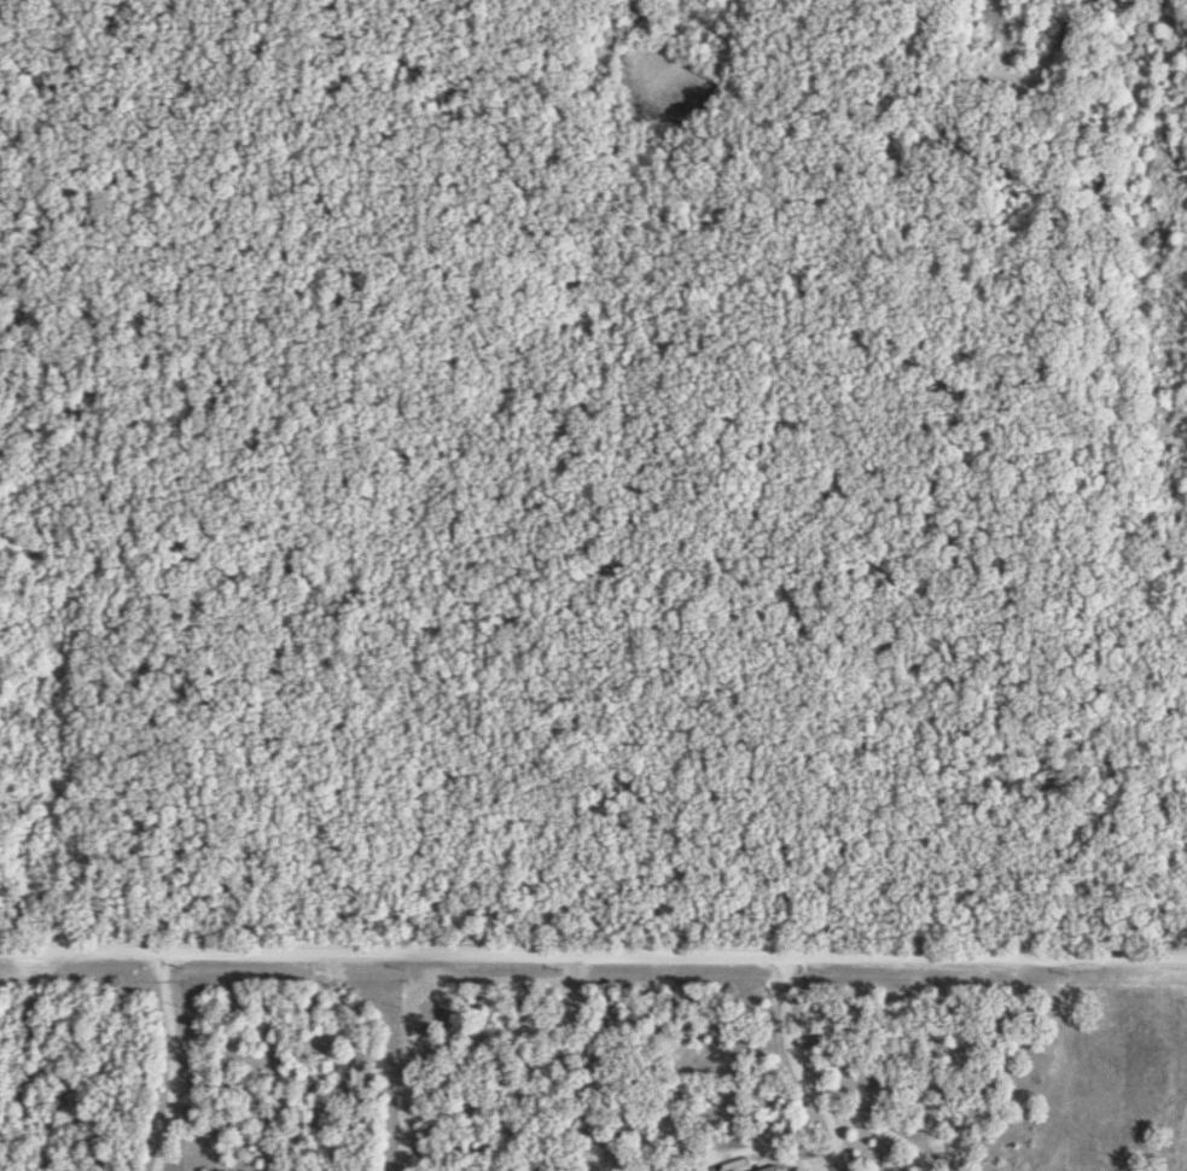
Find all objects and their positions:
road: (593, 954)
road: (176, 1061)
road: (1065, 1064)
building: (772, 1167)

